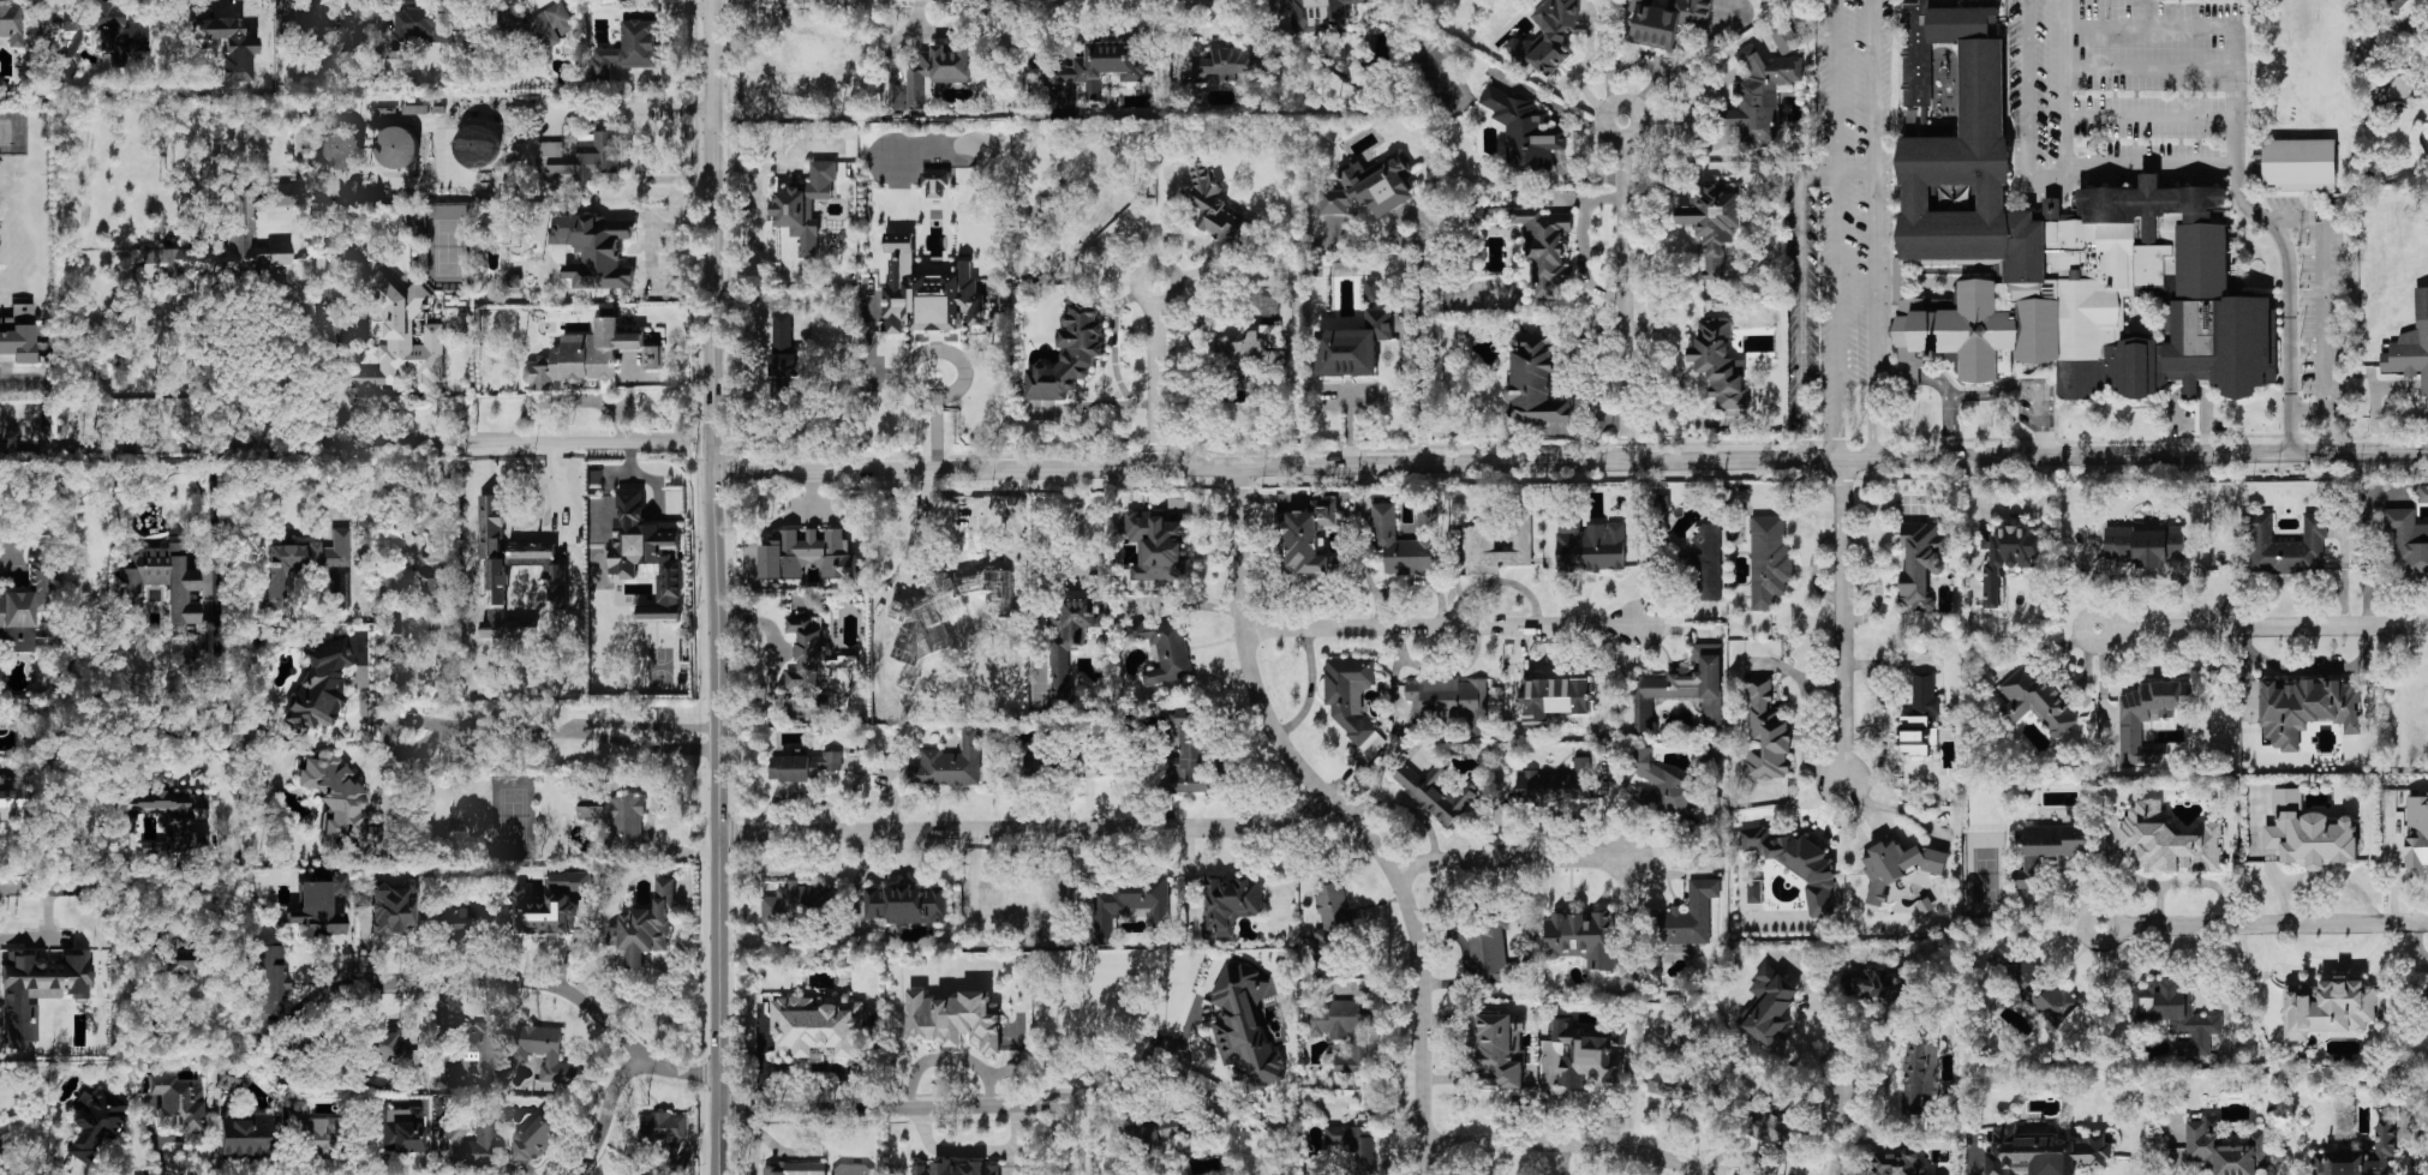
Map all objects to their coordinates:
building: (2406, 0)
road: (530, 1)
building: (1323, 13)
building: (510, 19)
building: (1667, 19)
building: (333, 22)
building: (11, 23)
building: (550, 25)
building: (423, 26)
road: (2110, 28)
building: (109, 29)
building: (1547, 36)
building: (1784, 36)
building: (629, 48)
building: (1225, 62)
building: (1102, 66)
road: (2149, 67)
building: (61, 70)
building: (811, 71)
building: (937, 71)
road: (2063, 80)
building: (931, 92)
building: (1760, 95)
road: (624, 108)
road: (2027, 116)
road: (2149, 116)
building: (1525, 131)
building: (396, 146)
building: (340, 148)
building: (581, 155)
road: (2149, 163)
building: (2300, 163)
road: (1854, 172)
road: (644, 173)
building: (935, 184)
building: (1370, 186)
building: (280, 194)
road: (2239, 194)
building: (805, 205)
building: (1216, 206)
building: (1714, 222)
road: (1835, 229)
road: (1874, 229)
road: (1584, 242)
building: (1545, 244)
building: (2059, 245)
building: (221, 248)
building: (594, 250)
building: (1345, 268)
building: (1373, 290)
road: (1623, 290)
road: (1800, 301)
road: (2320, 308)
building: (782, 330)
building: (17, 335)
building: (405, 340)
road: (1421, 343)
building: (2411, 344)
building: (1353, 346)
building: (1255, 349)
building: (584, 355)
building: (653, 356)
building: (1066, 360)
building: (1721, 364)
road: (964, 367)
road: (1678, 371)
building: (781, 373)
road: (1158, 376)
road: (331, 377)
building: (1535, 380)
road: (2029, 384)
road: (1943, 390)
road: (2189, 391)
road: (46, 396)
road: (567, 397)
road: (358, 448)
road: (1567, 462)
building: (2422, 492)
road: (433, 499)
building: (1659, 502)
road: (36, 504)
road: (486, 508)
road: (1076, 529)
building: (1478, 538)
building: (1310, 539)
building: (2408, 539)
building: (1405, 540)
building: (2145, 544)
building: (2283, 544)
building: (1156, 545)
building: (1590, 545)
building: (808, 553)
building: (648, 554)
building: (2007, 557)
building: (1769, 560)
building: (1706, 563)
building: (1920, 563)
building: (300, 565)
building: (412, 574)
road: (1368, 580)
building: (160, 581)
road: (1410, 581)
road: (712, 587)
road: (228, 600)
building: (23, 611)
road: (1842, 619)
road: (1436, 627)
road: (2261, 627)
building: (1070, 641)
building: (1164, 648)
building: (806, 658)
building: (397, 667)
road: (2103, 682)
building: (319, 684)
building: (1682, 687)
road: (1310, 689)
building: (1350, 695)
building: (1449, 700)
building: (1559, 700)
building: (2035, 700)
building: (2306, 707)
building: (1920, 717)
building: (2147, 717)
road: (580, 727)
road: (441, 733)
building: (1766, 733)
building: (1189, 751)
building: (950, 763)
building: (1035, 765)
building: (802, 766)
road: (1380, 772)
building: (1557, 783)
building: (1662, 787)
building: (1436, 793)
road: (800, 795)
building: (14, 798)
road: (1885, 807)
building: (341, 808)
road: (1345, 815)
road: (650, 816)
building: (167, 817)
building: (620, 820)
road: (1024, 828)
building: (2417, 828)
building: (2309, 832)
building: (2049, 847)
road: (1503, 861)
building: (1798, 864)
building: (1898, 865)
road: (2136, 876)
building: (572, 880)
road: (2208, 881)
road: (61, 889)
building: (1007, 899)
building: (795, 900)
building: (1129, 903)
building: (1230, 903)
building: (905, 904)
building: (318, 907)
building: (391, 909)
building: (543, 912)
building: (1691, 915)
building: (461, 919)
building: (1330, 921)
road: (2263, 924)
building: (645, 927)
road: (48, 937)
building: (1583, 937)
building: (1489, 949)
building: (173, 957)
road: (540, 983)
building: (269, 985)
building: (1841, 985)
building: (1872, 985)
building: (40, 989)
building: (2037, 989)
building: (1769, 1005)
building: (2328, 1007)
building: (2175, 1014)
building: (953, 1019)
building: (815, 1026)
building: (1245, 1027)
building: (1674, 1029)
building: (1344, 1030)
building: (472, 1049)
building: (1500, 1049)
building: (545, 1051)
building: (395, 1055)
building: (1586, 1056)
road: (949, 1057)
building: (1918, 1074)
building: (228, 1081)
building: (1672, 1084)
building: (178, 1105)
road: (956, 1108)
road: (603, 1114)
building: (1769, 1121)
building: (95, 1122)
road: (1841, 1123)
building: (660, 1127)
building: (400, 1128)
building: (313, 1131)
building: (245, 1135)
building: (532, 1140)
road: (1568, 1143)
building: (468, 1144)
building: (1354, 1144)
building: (2224, 1147)
road: (971, 1152)
building: (2043, 1152)
building: (2358, 1156)
building: (2, 1159)
building: (1897, 1162)
building: (797, 1168)
building: (953, 1168)
building: (636, 1174)

